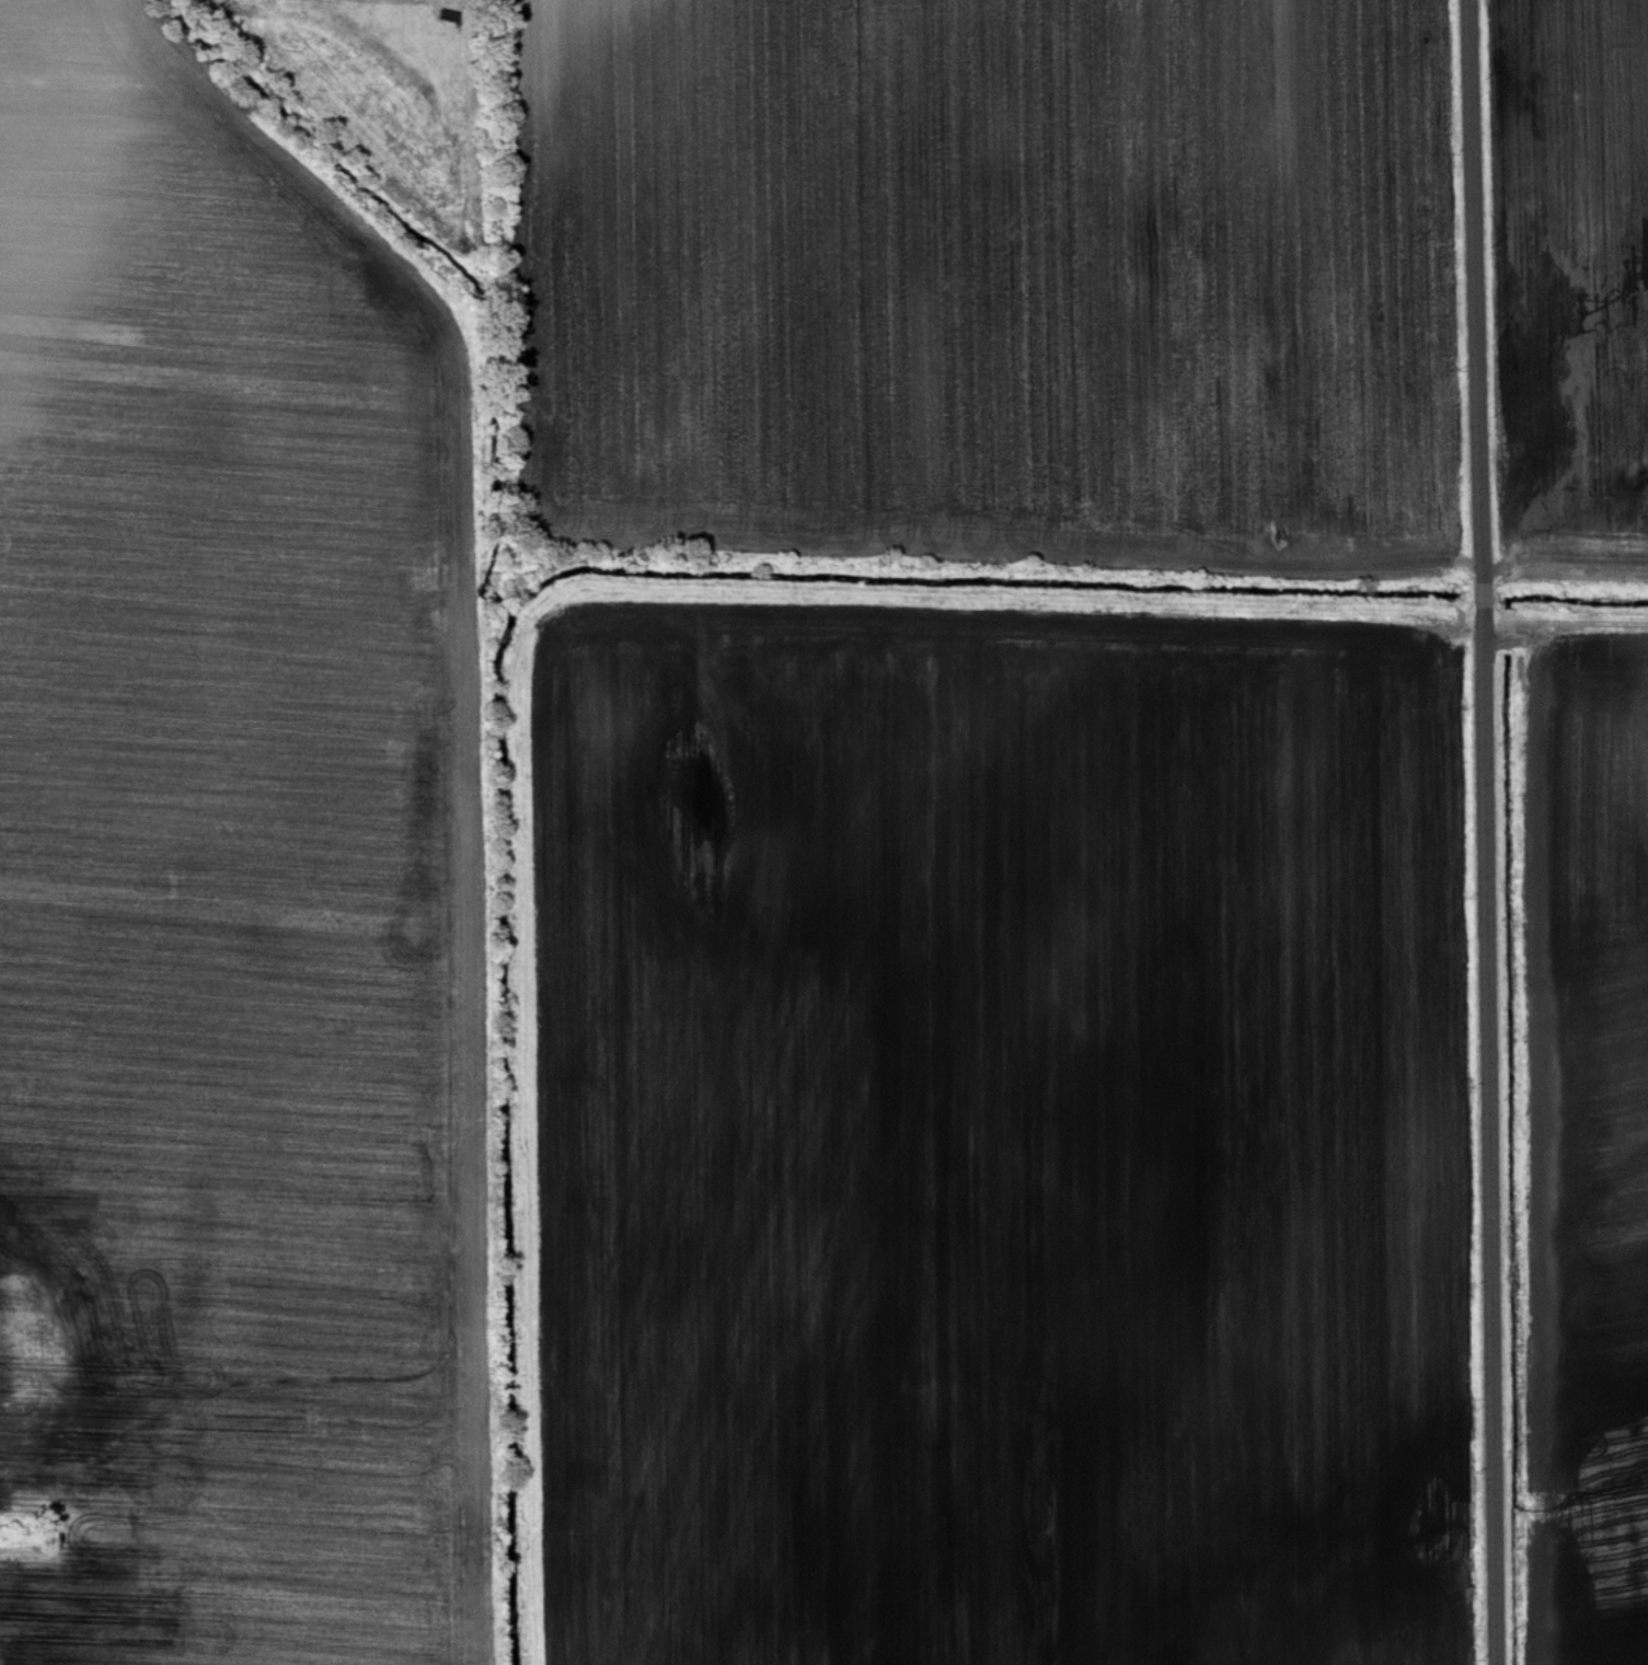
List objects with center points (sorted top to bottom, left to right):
road: (1488, 832)

